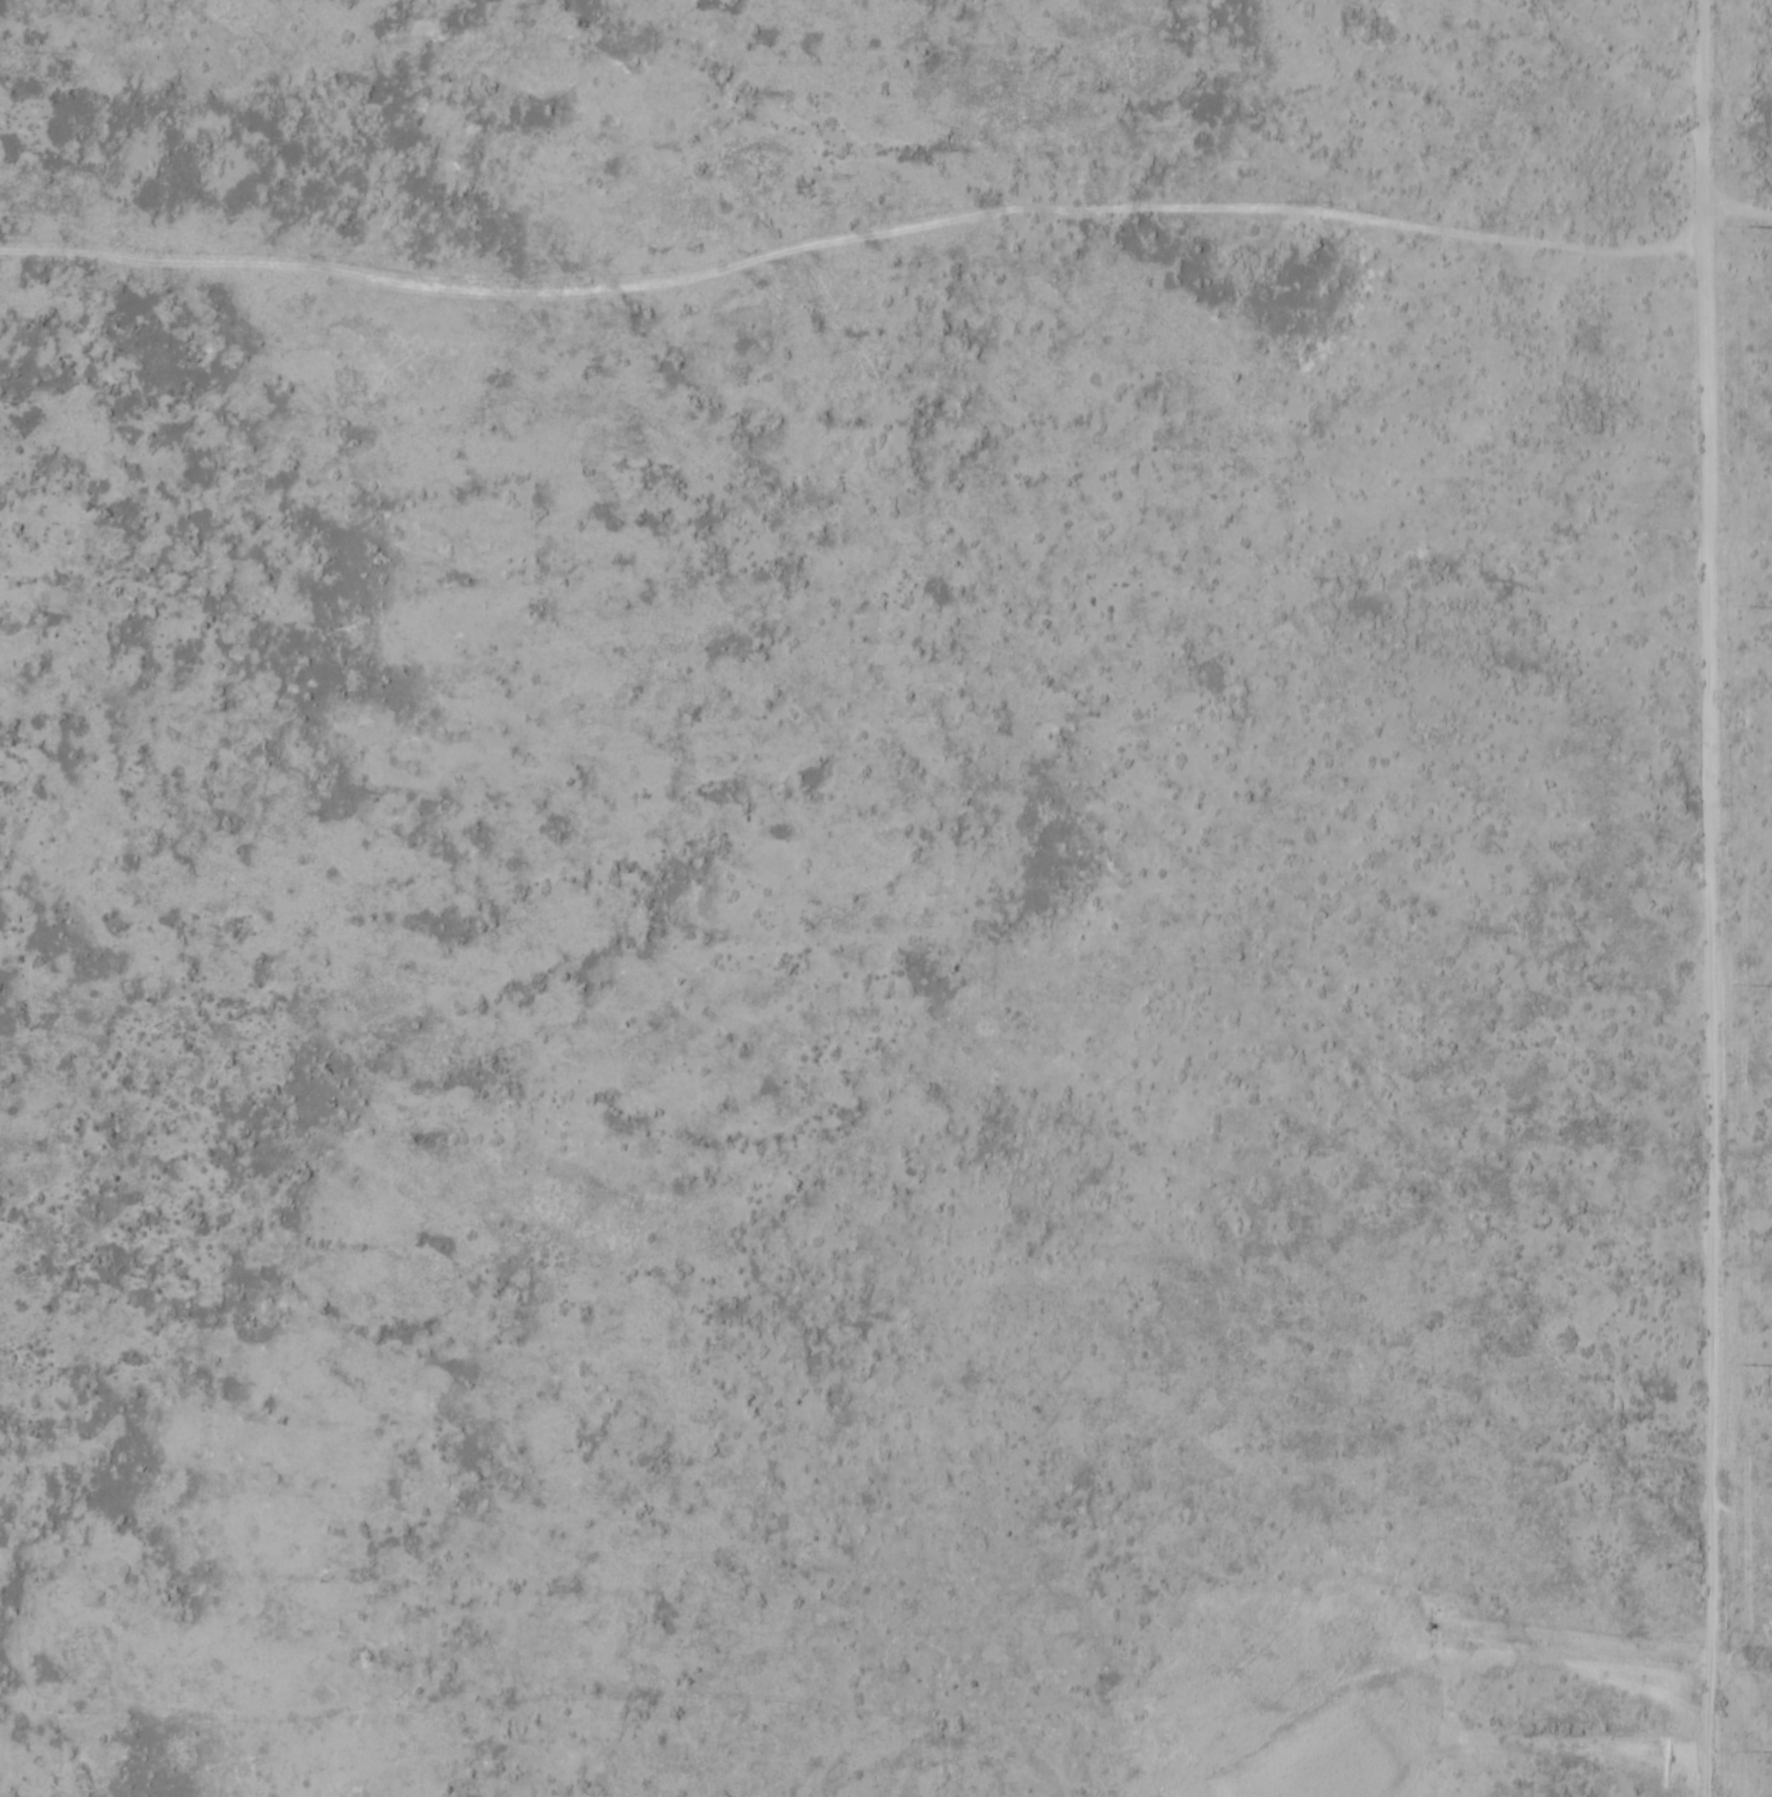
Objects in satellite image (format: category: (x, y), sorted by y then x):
road: (1688, 95)
power tower: (1735, 225)
road: (870, 232)
power tower: (1736, 604)
power tower: (1738, 985)
road: (1707, 1009)
power tower: (1738, 1364)
power tower: (1741, 1750)

